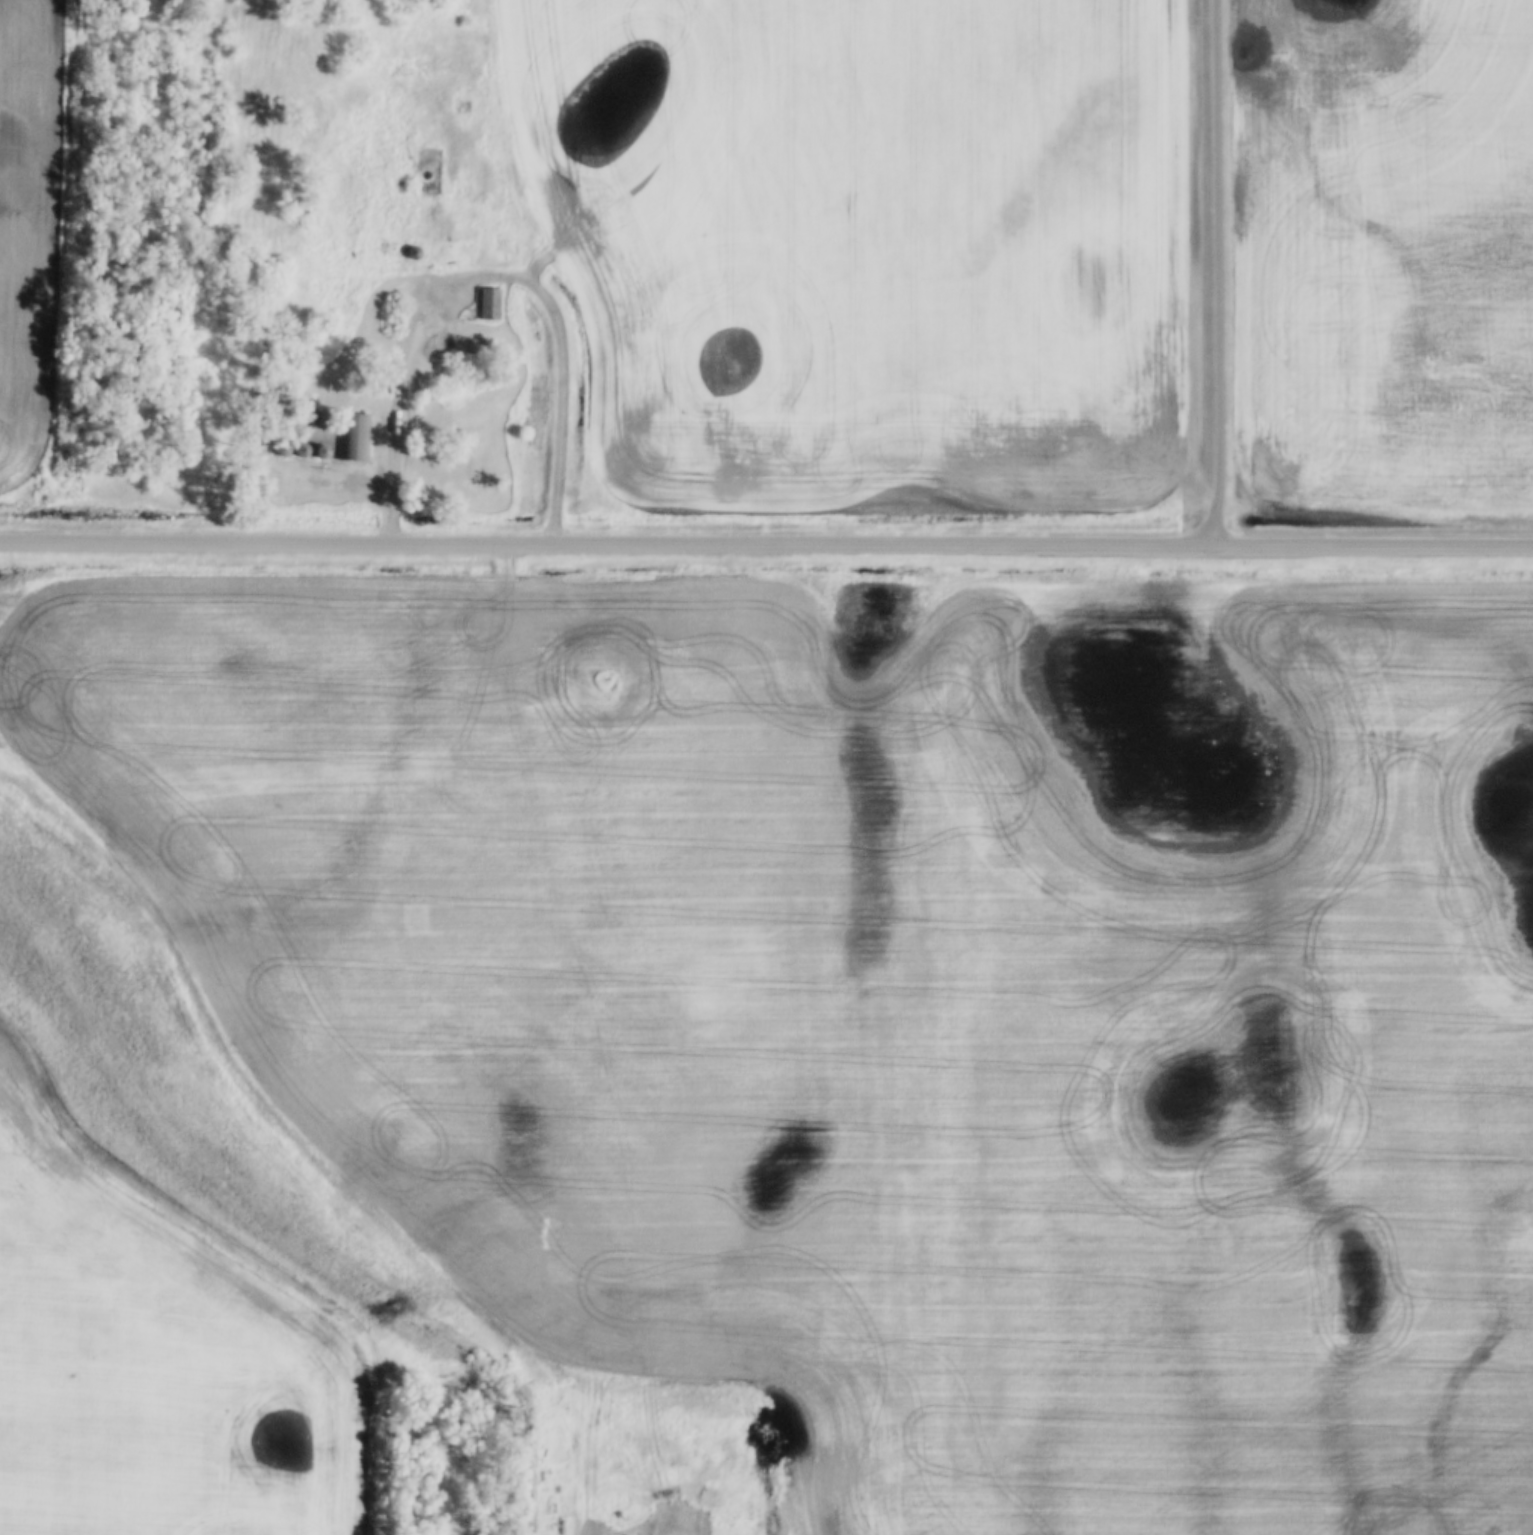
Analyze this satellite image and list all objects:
building: (413, 253)
road: (1216, 274)
road: (484, 277)
building: (488, 305)
building: (354, 439)
road: (766, 543)
road: (804, 1475)

